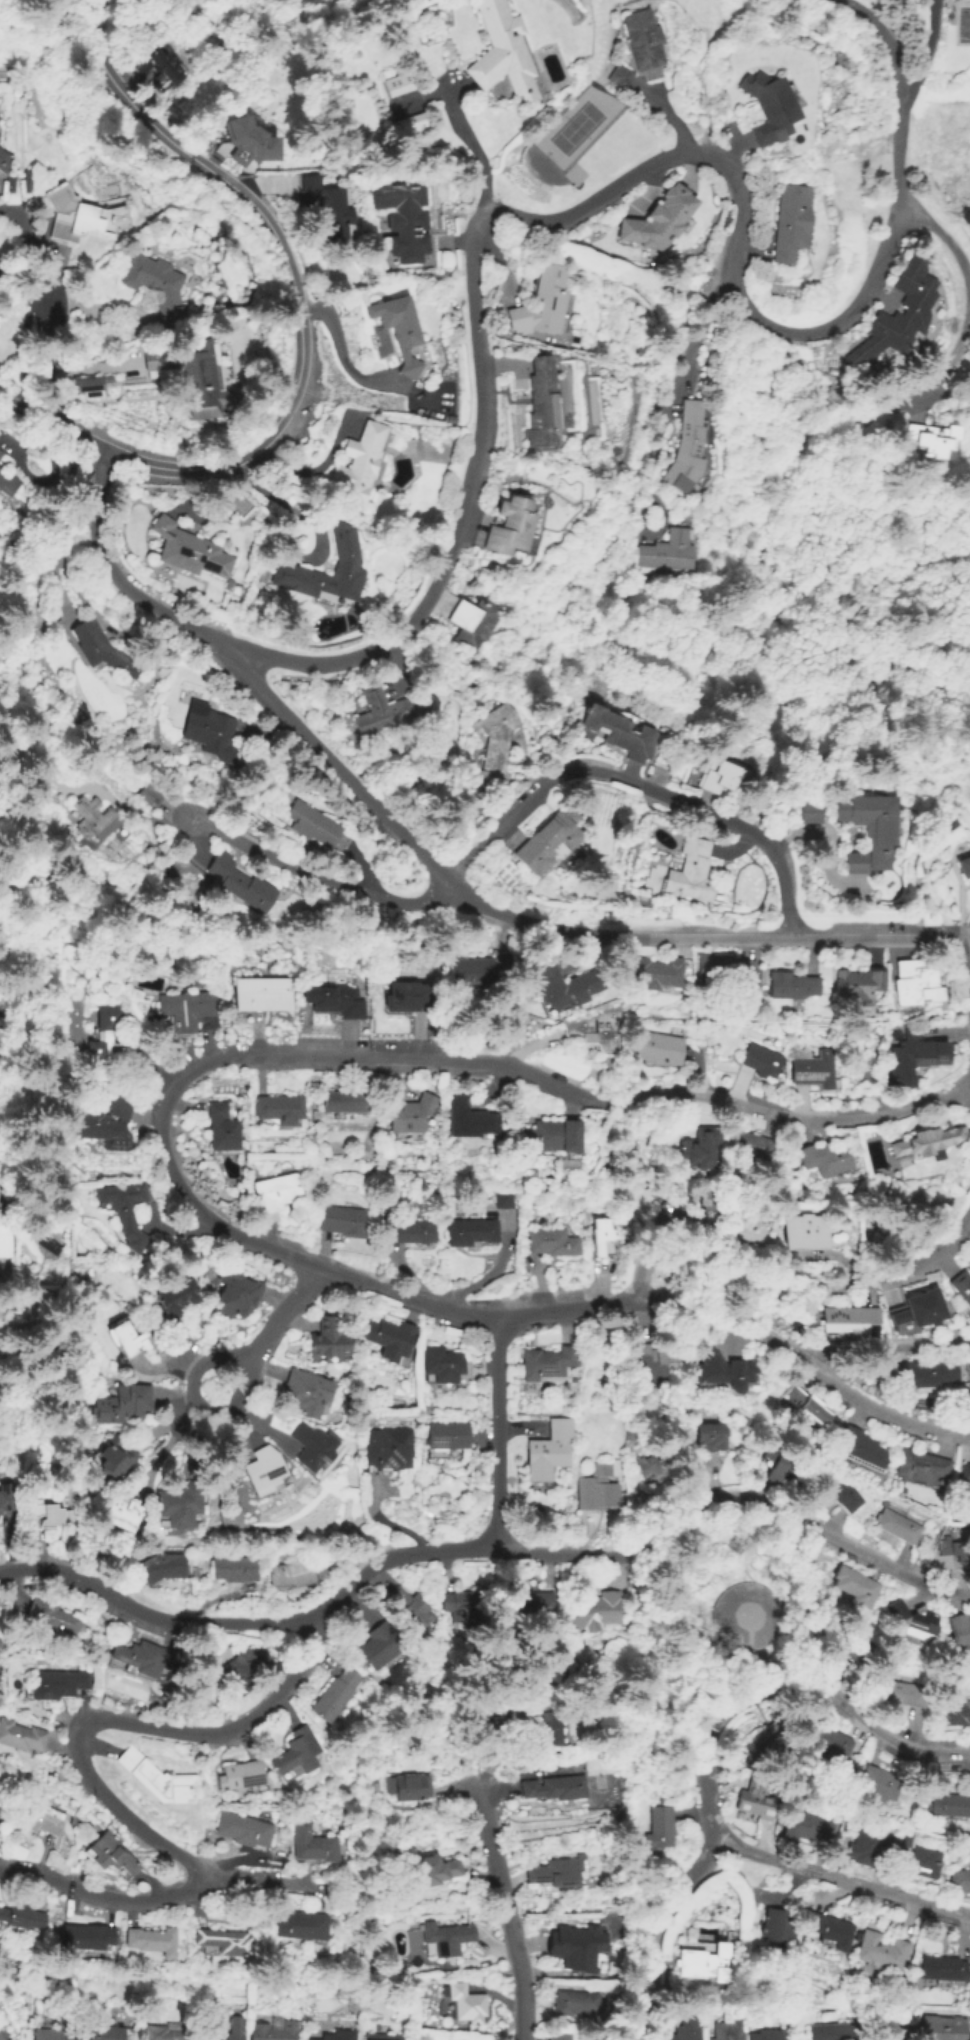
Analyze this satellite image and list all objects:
building: (964, 1)
road: (98, 3)
building: (646, 44)
building: (505, 55)
road: (926, 60)
building: (162, 68)
building: (620, 77)
building: (398, 86)
road: (899, 87)
building: (775, 109)
road: (673, 124)
building: (412, 126)
park: (576, 126)
building: (248, 140)
road: (474, 151)
building: (4, 161)
building: (27, 179)
building: (330, 209)
road: (499, 211)
building: (83, 217)
building: (404, 221)
building: (662, 222)
building: (796, 223)
road: (752, 243)
road: (289, 268)
road: (964, 271)
building: (2, 275)
building: (156, 286)
road: (876, 300)
road: (49, 301)
building: (544, 305)
building: (911, 313)
building: (399, 330)
road: (348, 372)
building: (187, 373)
building: (89, 385)
road: (924, 391)
road: (947, 393)
building: (546, 409)
road: (56, 425)
road: (662, 430)
building: (926, 441)
building: (693, 451)
building: (0, 452)
building: (0, 458)
building: (363, 465)
building: (8, 482)
road: (278, 503)
building: (518, 530)
building: (345, 541)
building: (191, 553)
building: (671, 554)
road: (772, 581)
road: (119, 583)
building: (479, 625)
building: (104, 651)
building: (384, 714)
building: (612, 732)
building: (211, 733)
building: (497, 738)
building: (713, 777)
road: (81, 781)
road: (126, 790)
building: (151, 795)
road: (519, 811)
building: (802, 811)
building: (95, 821)
building: (317, 828)
building: (859, 830)
road: (822, 838)
building: (542, 842)
building: (961, 870)
building: (685, 872)
building: (242, 885)
road: (544, 927)
road: (965, 970)
building: (461, 973)
building: (649, 973)
building: (720, 973)
building: (908, 985)
building: (557, 986)
building: (785, 986)
building: (301, 987)
building: (848, 987)
building: (265, 996)
building: (397, 996)
building: (334, 1001)
building: (187, 1010)
building: (592, 1032)
building: (111, 1037)
building: (653, 1049)
building: (908, 1055)
building: (754, 1061)
building: (805, 1071)
building: (347, 1102)
building: (281, 1109)
building: (410, 1114)
building: (464, 1120)
building: (107, 1125)
building: (223, 1128)
building: (541, 1138)
building: (923, 1145)
building: (742, 1146)
building: (693, 1148)
road: (165, 1155)
building: (815, 1160)
building: (279, 1193)
building: (500, 1200)
building: (126, 1212)
building: (683, 1212)
building: (344, 1221)
building: (808, 1231)
building: (407, 1232)
building: (465, 1234)
building: (5, 1242)
building: (592, 1242)
building: (544, 1244)
road: (485, 1272)
road: (794, 1282)
building: (959, 1290)
building: (236, 1294)
building: (178, 1297)
building: (90, 1299)
building: (907, 1311)
building: (830, 1320)
road: (268, 1331)
building: (331, 1339)
building: (392, 1339)
building: (128, 1340)
road: (889, 1350)
road: (969, 1352)
road: (890, 1354)
building: (551, 1362)
building: (646, 1364)
building: (444, 1365)
building: (716, 1374)
building: (910, 1374)
road: (193, 1379)
building: (963, 1383)
building: (310, 1394)
building: (121, 1406)
building: (795, 1407)
road: (167, 1422)
road: (500, 1434)
building: (708, 1437)
building: (447, 1438)
road: (168, 1443)
building: (389, 1448)
building: (316, 1449)
building: (551, 1450)
building: (850, 1450)
building: (113, 1459)
building: (912, 1467)
building: (656, 1468)
building: (261, 1470)
building: (770, 1473)
building: (962, 1476)
building: (599, 1489)
building: (836, 1495)
building: (8, 1498)
building: (181, 1503)
building: (125, 1512)
building: (49, 1515)
building: (893, 1527)
building: (950, 1549)
road: (396, 1559)
building: (162, 1567)
building: (236, 1569)
building: (298, 1572)
building: (848, 1584)
building: (464, 1602)
building: (526, 1606)
building: (414, 1607)
building: (600, 1612)
road: (154, 1615)
building: (751, 1617)
water tower: (752, 1617)
building: (905, 1619)
building: (51, 1620)
building: (955, 1631)
building: (0, 1639)
building: (1, 1643)
building: (381, 1645)
building: (140, 1659)
building: (839, 1662)
building: (242, 1674)
road: (784, 1676)
building: (57, 1683)
building: (336, 1694)
building: (906, 1697)
building: (953, 1712)
building: (529, 1728)
building: (21, 1736)
building: (755, 1737)
building: (823, 1741)
building: (298, 1754)
building: (57, 1774)
building: (242, 1777)
building: (157, 1780)
building: (873, 1783)
building: (409, 1788)
building: (552, 1789)
park: (599, 1790)
building: (750, 1805)
building: (946, 1805)
building: (43, 1820)
building: (804, 1827)
building: (654, 1828)
building: (243, 1829)
building: (903, 1837)
building: (312, 1843)
building: (865, 1846)
building: (111, 1856)
road: (37, 1857)
road: (235, 1862)
building: (920, 1862)
building: (438, 1871)
building: (554, 1871)
road: (840, 1879)
building: (959, 1881)
road: (251, 1883)
road: (101, 1896)
road: (506, 1910)
building: (22, 1919)
building: (773, 1926)
building: (302, 1927)
building: (826, 1931)
road: (645, 1932)
building: (88, 1939)
building: (447, 1939)
building: (151, 1941)
building: (570, 1941)
building: (221, 1943)
building: (876, 1949)
building: (695, 1963)
building: (938, 1968)
building: (11, 1969)
building: (368, 1969)
building: (68, 1972)
building: (572, 2005)
building: (467, 2006)
building: (830, 2013)
building: (681, 2027)
building: (941, 2027)
building: (724, 2031)
building: (825, 2031)
building: (161, 2032)
building: (273, 2032)
building: (105, 2033)
building: (551, 2034)
building: (761, 2034)
building: (54, 2035)
building: (225, 2036)
building: (340, 2036)
building: (1, 2037)
building: (385, 2037)

